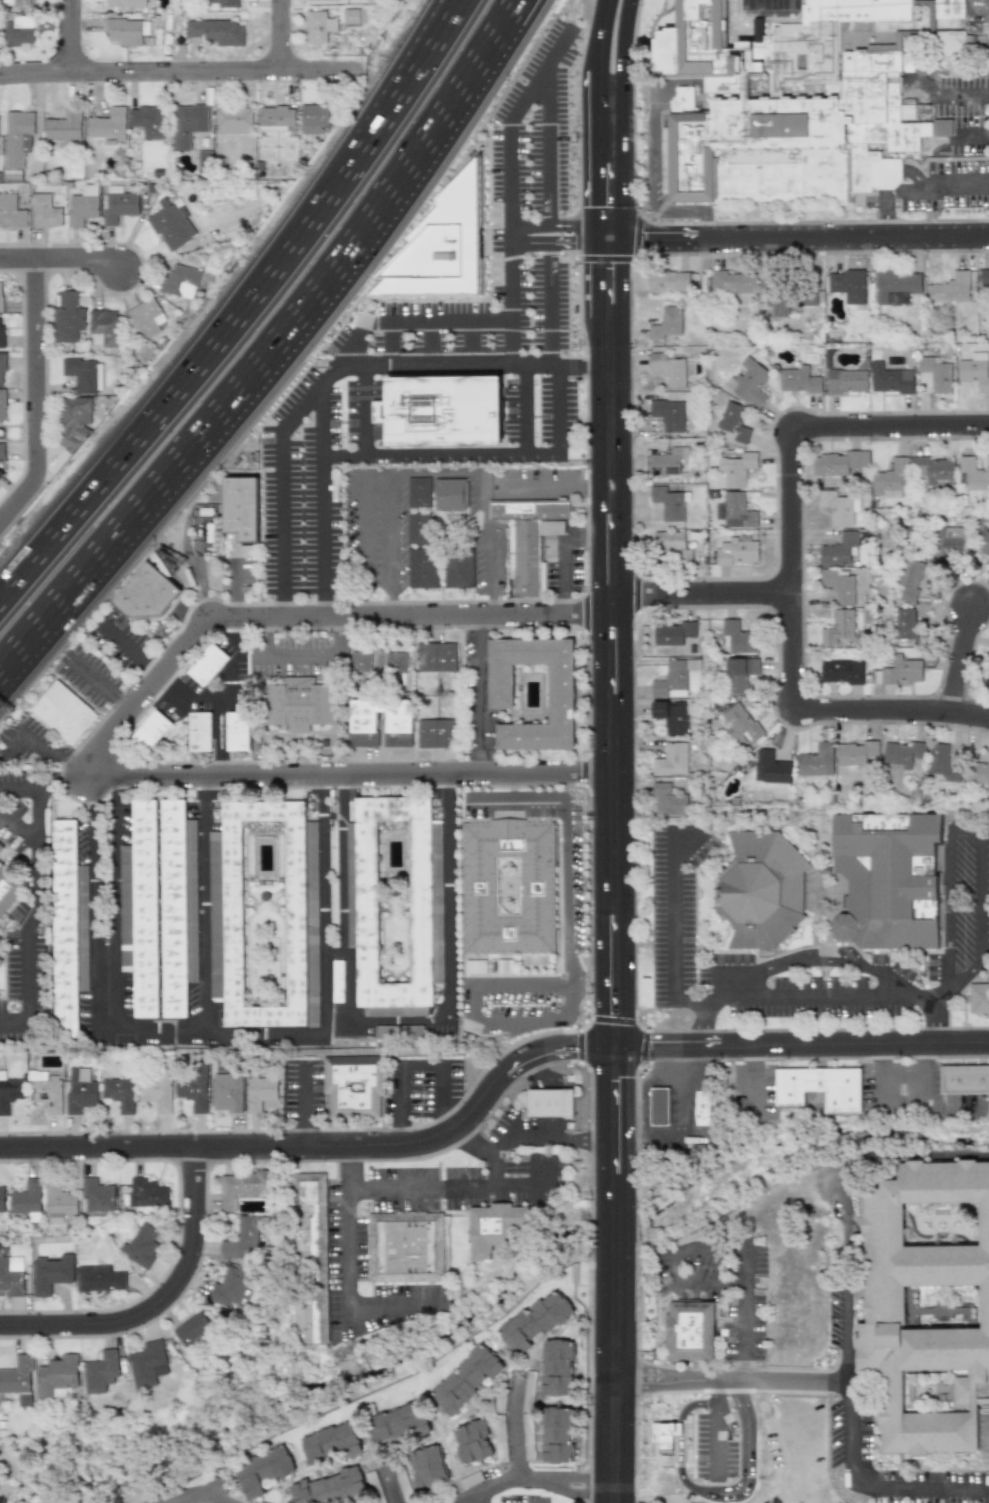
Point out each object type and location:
building: (323, 0)
building: (363, 1)
building: (16, 3)
building: (124, 3)
building: (223, 3)
road: (772, 4)
road: (988, 5)
building: (954, 9)
building: (350, 16)
building: (318, 27)
building: (18, 31)
building: (126, 31)
building: (216, 32)
road: (279, 33)
road: (74, 35)
building: (695, 43)
building: (956, 45)
building: (827, 50)
road: (477, 55)
road: (484, 55)
road: (168, 68)
road: (949, 95)
building: (313, 117)
building: (275, 118)
road: (610, 118)
building: (233, 119)
building: (146, 120)
building: (188, 124)
building: (64, 125)
building: (108, 125)
road: (969, 139)
building: (17, 142)
building: (803, 142)
road: (549, 145)
road: (347, 148)
road: (368, 152)
road: (508, 177)
road: (918, 189)
building: (117, 203)
building: (83, 205)
traffic signals: (610, 209)
building: (12, 212)
building: (44, 212)
building: (170, 224)
road: (583, 224)
road: (530, 225)
road: (799, 237)
traffic signals: (647, 239)
road: (580, 243)
road: (529, 244)
building: (443, 247)
road: (60, 258)
traffic signals: (610, 268)
building: (983, 278)
building: (180, 282)
building: (668, 282)
building: (733, 283)
building: (895, 284)
building: (847, 285)
building: (950, 288)
building: (804, 294)
building: (1, 296)
road: (549, 303)
building: (67, 314)
building: (146, 317)
road: (411, 323)
building: (666, 324)
building: (103, 328)
building: (2, 332)
road: (470, 335)
road: (429, 336)
road: (437, 349)
road: (391, 359)
road: (470, 364)
building: (3, 368)
building: (668, 369)
building: (974, 371)
building: (935, 373)
building: (83, 374)
building: (889, 379)
building: (798, 380)
building: (844, 381)
building: (748, 383)
road: (33, 394)
road: (522, 398)
road: (232, 401)
building: (3, 405)
road: (556, 408)
road: (362, 410)
building: (443, 410)
building: (667, 414)
building: (72, 421)
building: (732, 424)
road: (808, 428)
building: (2, 448)
road: (128, 448)
road: (438, 453)
building: (665, 462)
building: (837, 463)
building: (735, 468)
building: (932, 469)
road: (279, 472)
road: (414, 472)
building: (1, 474)
building: (972, 474)
building: (890, 480)
road: (595, 483)
road: (528, 486)
road: (318, 490)
building: (423, 494)
building: (454, 495)
building: (668, 502)
road: (363, 507)
building: (838, 507)
road: (478, 508)
building: (734, 510)
building: (529, 511)
building: (247, 513)
building: (423, 529)
road: (391, 533)
road: (585, 535)
building: (945, 542)
building: (982, 543)
building: (669, 545)
building: (736, 550)
building: (838, 550)
building: (510, 552)
building: (527, 558)
building: (428, 560)
building: (463, 560)
road: (560, 564)
road: (491, 567)
building: (463, 576)
building: (428, 577)
building: (908, 580)
building: (839, 585)
road: (233, 589)
building: (149, 600)
road: (491, 604)
road: (561, 604)
road: (391, 605)
road: (280, 607)
road: (319, 607)
road: (317, 618)
road: (478, 623)
building: (904, 624)
building: (838, 627)
building: (672, 634)
road: (337, 635)
road: (262, 636)
building: (738, 637)
road: (118, 641)
road: (611, 642)
road: (299, 653)
building: (435, 657)
road: (233, 658)
road: (791, 658)
road: (961, 660)
building: (359, 662)
building: (394, 662)
building: (207, 665)
road: (149, 669)
building: (898, 671)
building: (841, 672)
building: (738, 674)
road: (91, 677)
building: (504, 678)
building: (670, 680)
building: (986, 680)
road: (478, 690)
road: (191, 700)
building: (301, 704)
road: (123, 705)
building: (65, 706)
building: (669, 715)
building: (739, 723)
building: (362, 729)
building: (150, 731)
building: (237, 731)
building: (435, 733)
building: (199, 734)
road: (29, 742)
building: (902, 753)
building: (856, 754)
road: (67, 756)
building: (670, 760)
building: (816, 760)
road: (479, 761)
building: (941, 764)
building: (770, 768)
road: (92, 772)
building: (978, 773)
road: (354, 774)
road: (58, 780)
road: (501, 800)
road: (536, 800)
building: (667, 800)
road: (17, 830)
road: (978, 832)
road: (34, 841)
building: (0, 846)
building: (889, 874)
building: (540, 882)
road: (565, 885)
building: (10, 886)
building: (764, 886)
road: (448, 891)
building: (368, 896)
road: (341, 902)
road: (94, 904)
road: (117, 904)
road: (323, 904)
road: (203, 905)
building: (147, 909)
building: (175, 909)
building: (234, 909)
building: (67, 923)
road: (675, 929)
building: (0, 960)
road: (811, 961)
building: (0, 962)
road: (592, 963)
building: (214, 973)
road: (570, 976)
road: (28, 978)
building: (336, 982)
road: (811, 997)
building: (978, 998)
road: (708, 1003)
road: (933, 1011)
traffic signals: (616, 1015)
road: (471, 1017)
road: (701, 1026)
road: (9, 1027)
road: (277, 1033)
road: (802, 1044)
traffic signals: (653, 1047)
traffic signals: (577, 1048)
road: (420, 1065)
building: (965, 1076)
traffic signals: (616, 1082)
road: (745, 1082)
building: (353, 1084)
building: (821, 1084)
building: (192, 1086)
road: (442, 1086)
building: (44, 1090)
building: (154, 1090)
building: (79, 1091)
road: (399, 1091)
building: (225, 1092)
building: (259, 1092)
building: (9, 1093)
building: (118, 1093)
building: (554, 1099)
road: (918, 1105)
building: (659, 1107)
road: (299, 1108)
road: (445, 1119)
road: (400, 1131)
road: (565, 1138)
road: (469, 1143)
road: (325, 1146)
road: (494, 1152)
road: (856, 1160)
road: (350, 1164)
road: (544, 1175)
road: (446, 1187)
building: (243, 1188)
building: (146, 1193)
building: (95, 1195)
building: (2, 1199)
building: (26, 1200)
building: (58, 1203)
building: (499, 1225)
building: (243, 1239)
road: (747, 1242)
building: (142, 1243)
building: (408, 1246)
road: (346, 1251)
building: (312, 1257)
building: (50, 1273)
road: (615, 1275)
building: (11, 1278)
building: (98, 1279)
road: (683, 1281)
building: (230, 1289)
road: (158, 1301)
building: (927, 1302)
road: (745, 1304)
road: (388, 1305)
building: (539, 1320)
road: (845, 1320)
building: (698, 1328)
building: (192, 1329)
building: (146, 1364)
building: (560, 1368)
building: (100, 1371)
road: (744, 1371)
road: (846, 1375)
building: (56, 1376)
building: (18, 1379)
building: (470, 1379)
road: (730, 1382)
road: (717, 1392)
building: (401, 1426)
road: (514, 1426)
road: (851, 1431)
building: (664, 1434)
building: (561, 1435)
building: (333, 1443)
building: (476, 1443)
building: (430, 1467)
building: (266, 1471)
road: (518, 1478)
road: (855, 1483)
road: (565, 1485)
road: (934, 1485)
building: (333, 1489)
road: (199, 1490)
road: (712, 1493)
road: (458, 1498)
road: (476, 1498)

